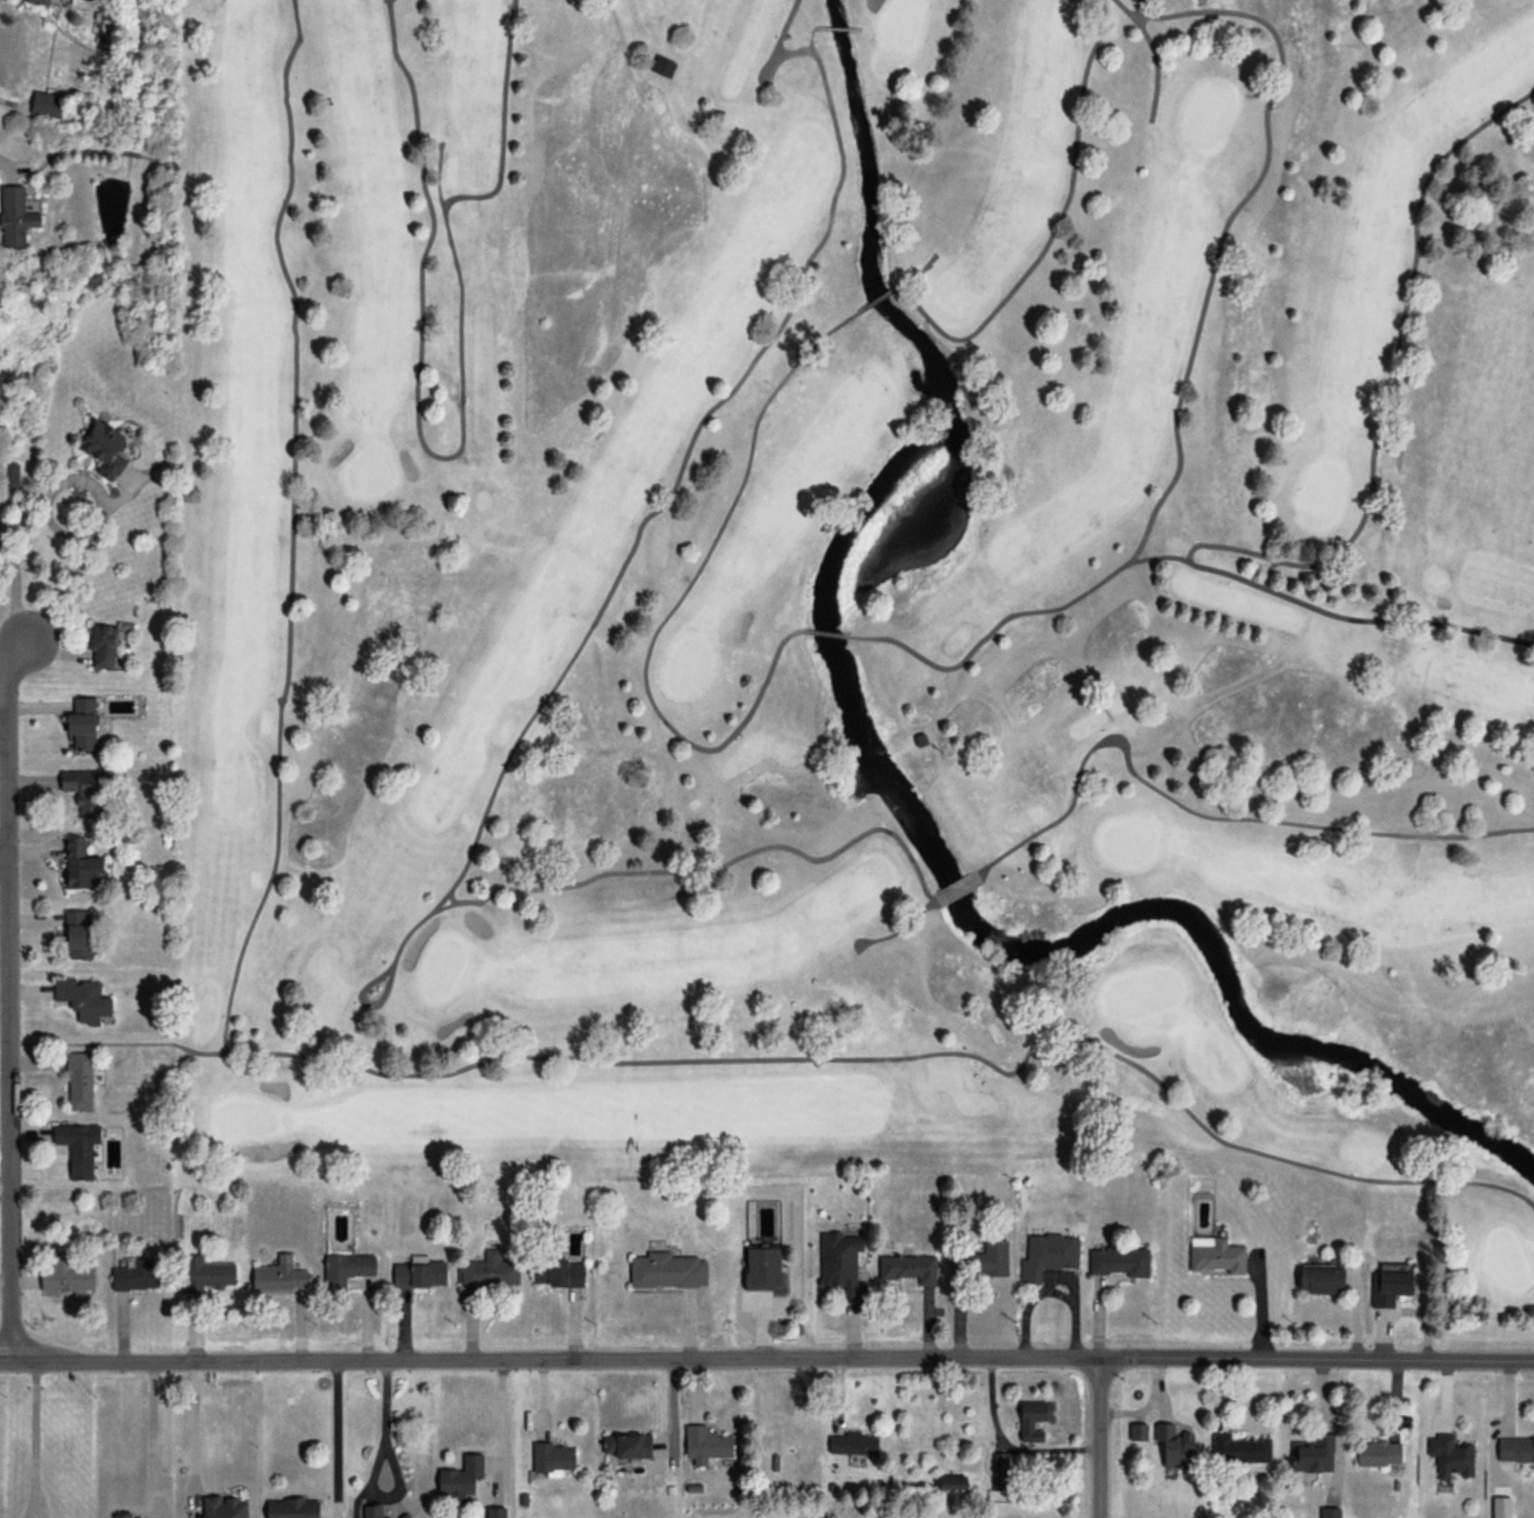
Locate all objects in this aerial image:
building: (40, 1)
road: (809, 42)
road: (1153, 53)
building: (663, 66)
building: (46, 104)
building: (15, 216)
road: (1225, 223)
road: (1045, 242)
road: (903, 283)
road: (1392, 383)
road: (701, 419)
building: (104, 448)
road: (458, 451)
building: (10, 474)
road: (1177, 558)
road: (73, 574)
park: (852, 596)
road: (677, 600)
building: (82, 723)
building: (83, 791)
road: (1205, 816)
road: (4, 854)
building: (80, 863)
road: (664, 870)
building: (78, 934)
road: (8, 997)
building: (83, 999)
road: (379, 1073)
building: (79, 1081)
building: (78, 1147)
building: (1213, 1257)
building: (1046, 1258)
building: (982, 1260)
building: (1117, 1264)
building: (841, 1265)
building: (763, 1268)
building: (909, 1268)
building: (347, 1269)
building: (667, 1270)
building: (490, 1271)
building: (558, 1273)
building: (419, 1274)
building: (204, 1275)
building: (279, 1275)
building: (66, 1276)
building: (136, 1276)
building: (1318, 1281)
building: (1387, 1287)
road: (766, 1358)
road: (497, 1414)
building: (1031, 1422)
road: (192, 1428)
road: (148, 1432)
building: (1136, 1434)
road: (34, 1437)
road: (334, 1437)
road: (1098, 1437)
building: (854, 1444)
building: (627, 1445)
building: (705, 1445)
building: (1173, 1448)
building: (1238, 1450)
building: (1515, 1451)
building: (1376, 1455)
building: (1312, 1457)
building: (552, 1458)
building: (1449, 1459)
road: (373, 1465)
building: (999, 1471)
building: (461, 1476)
building: (952, 1484)
building: (223, 1507)
building: (292, 1508)
building: (372, 1511)
building: (495, 1512)
building: (1328, 1513)
building: (122, 1515)
building: (404, 1516)

